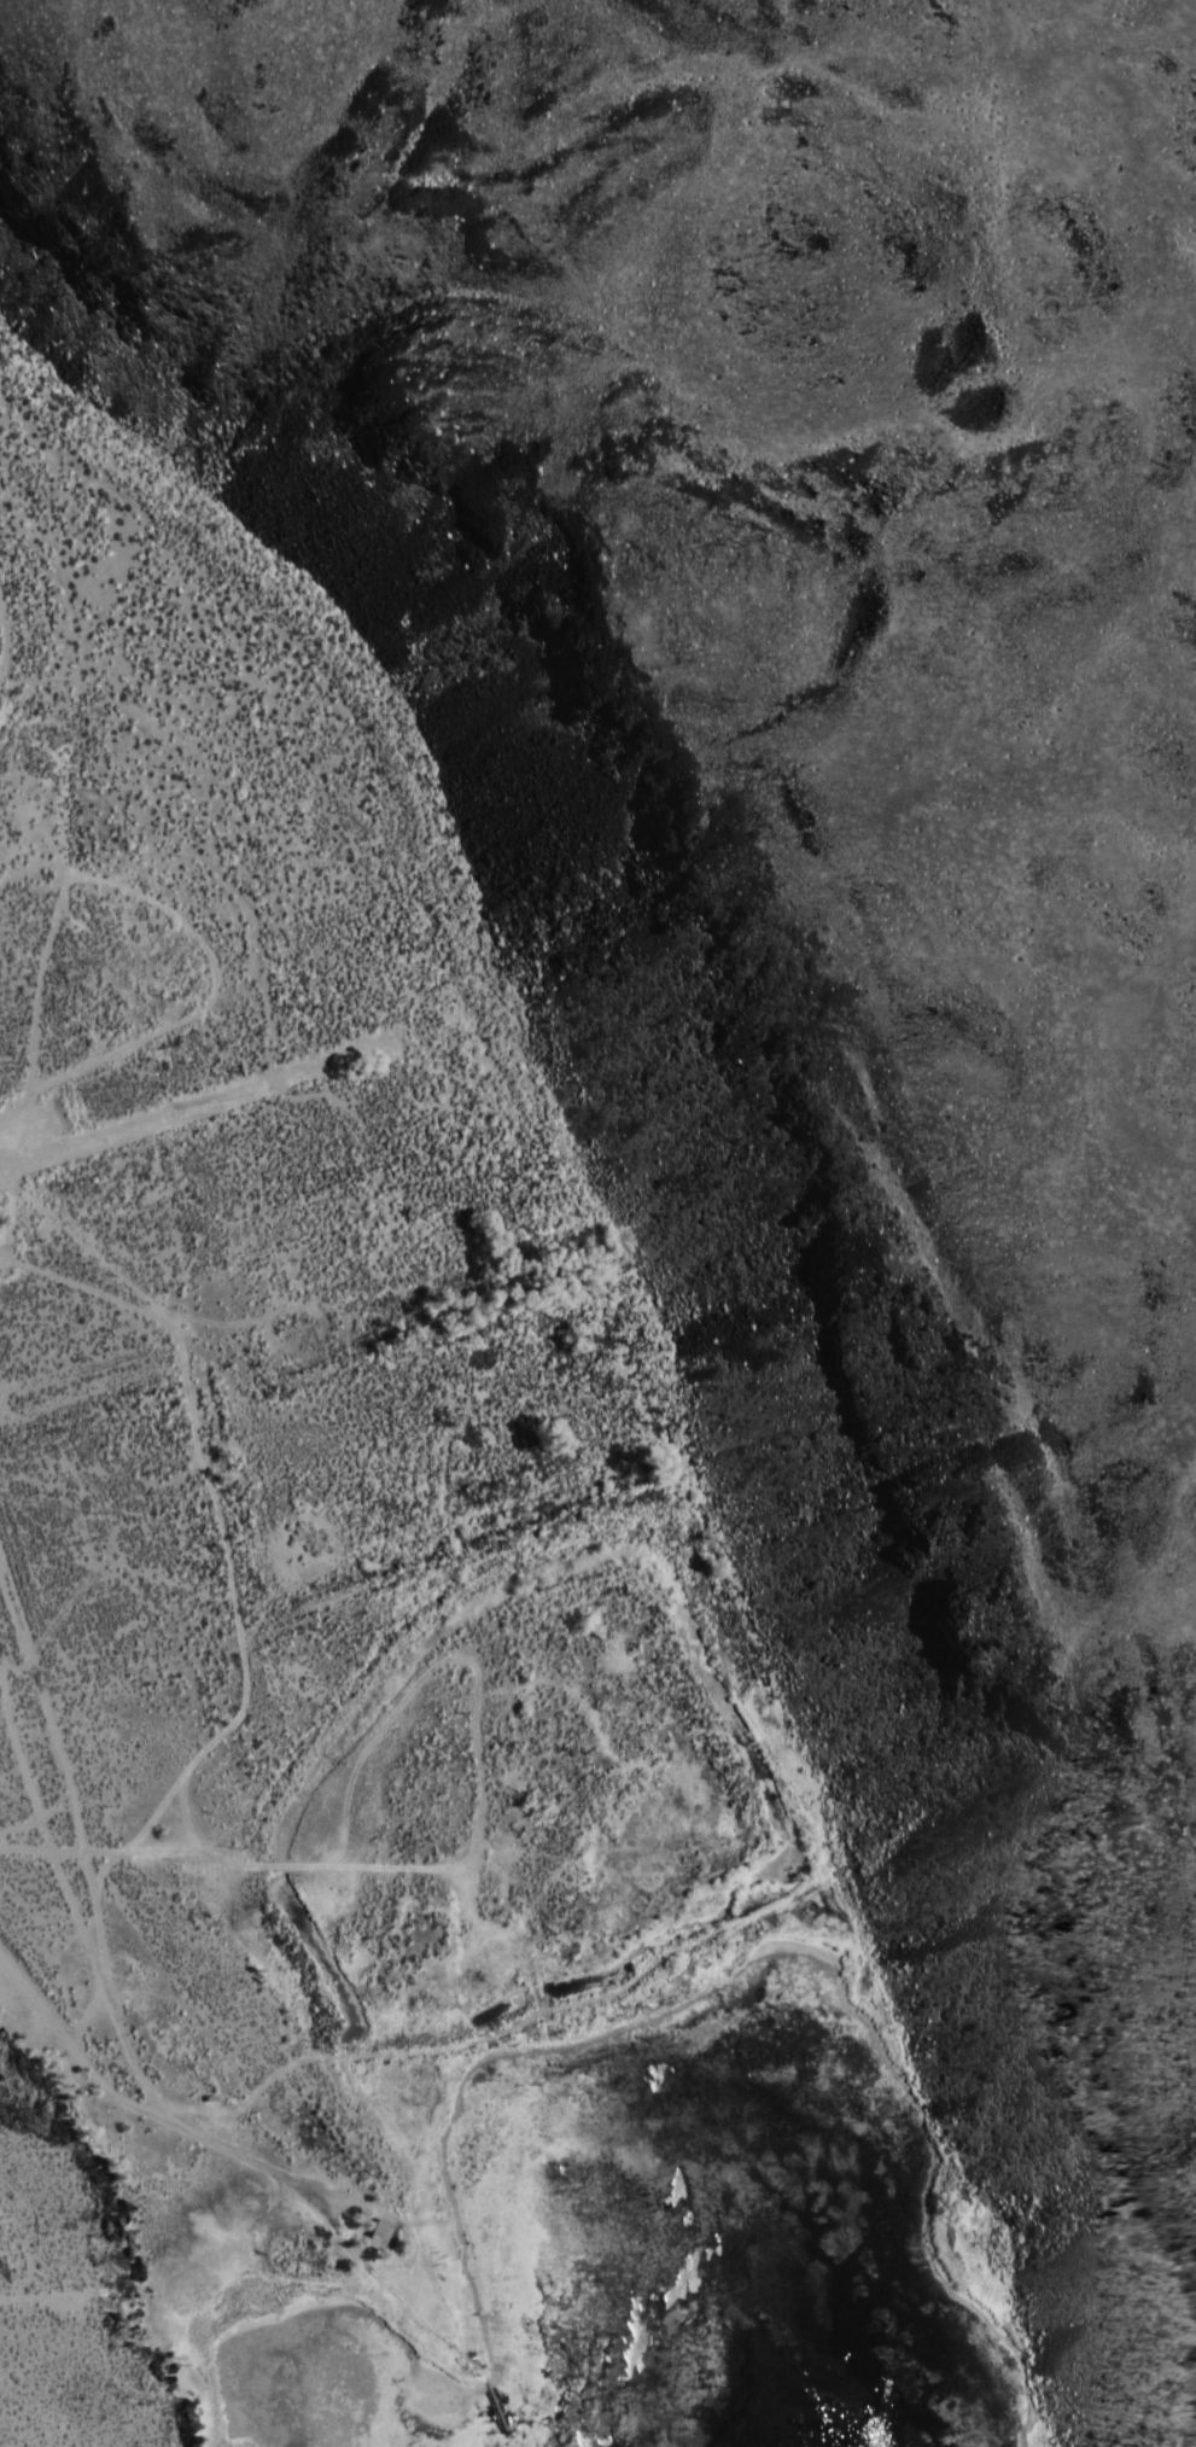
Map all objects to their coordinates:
building: (380, 2235)

